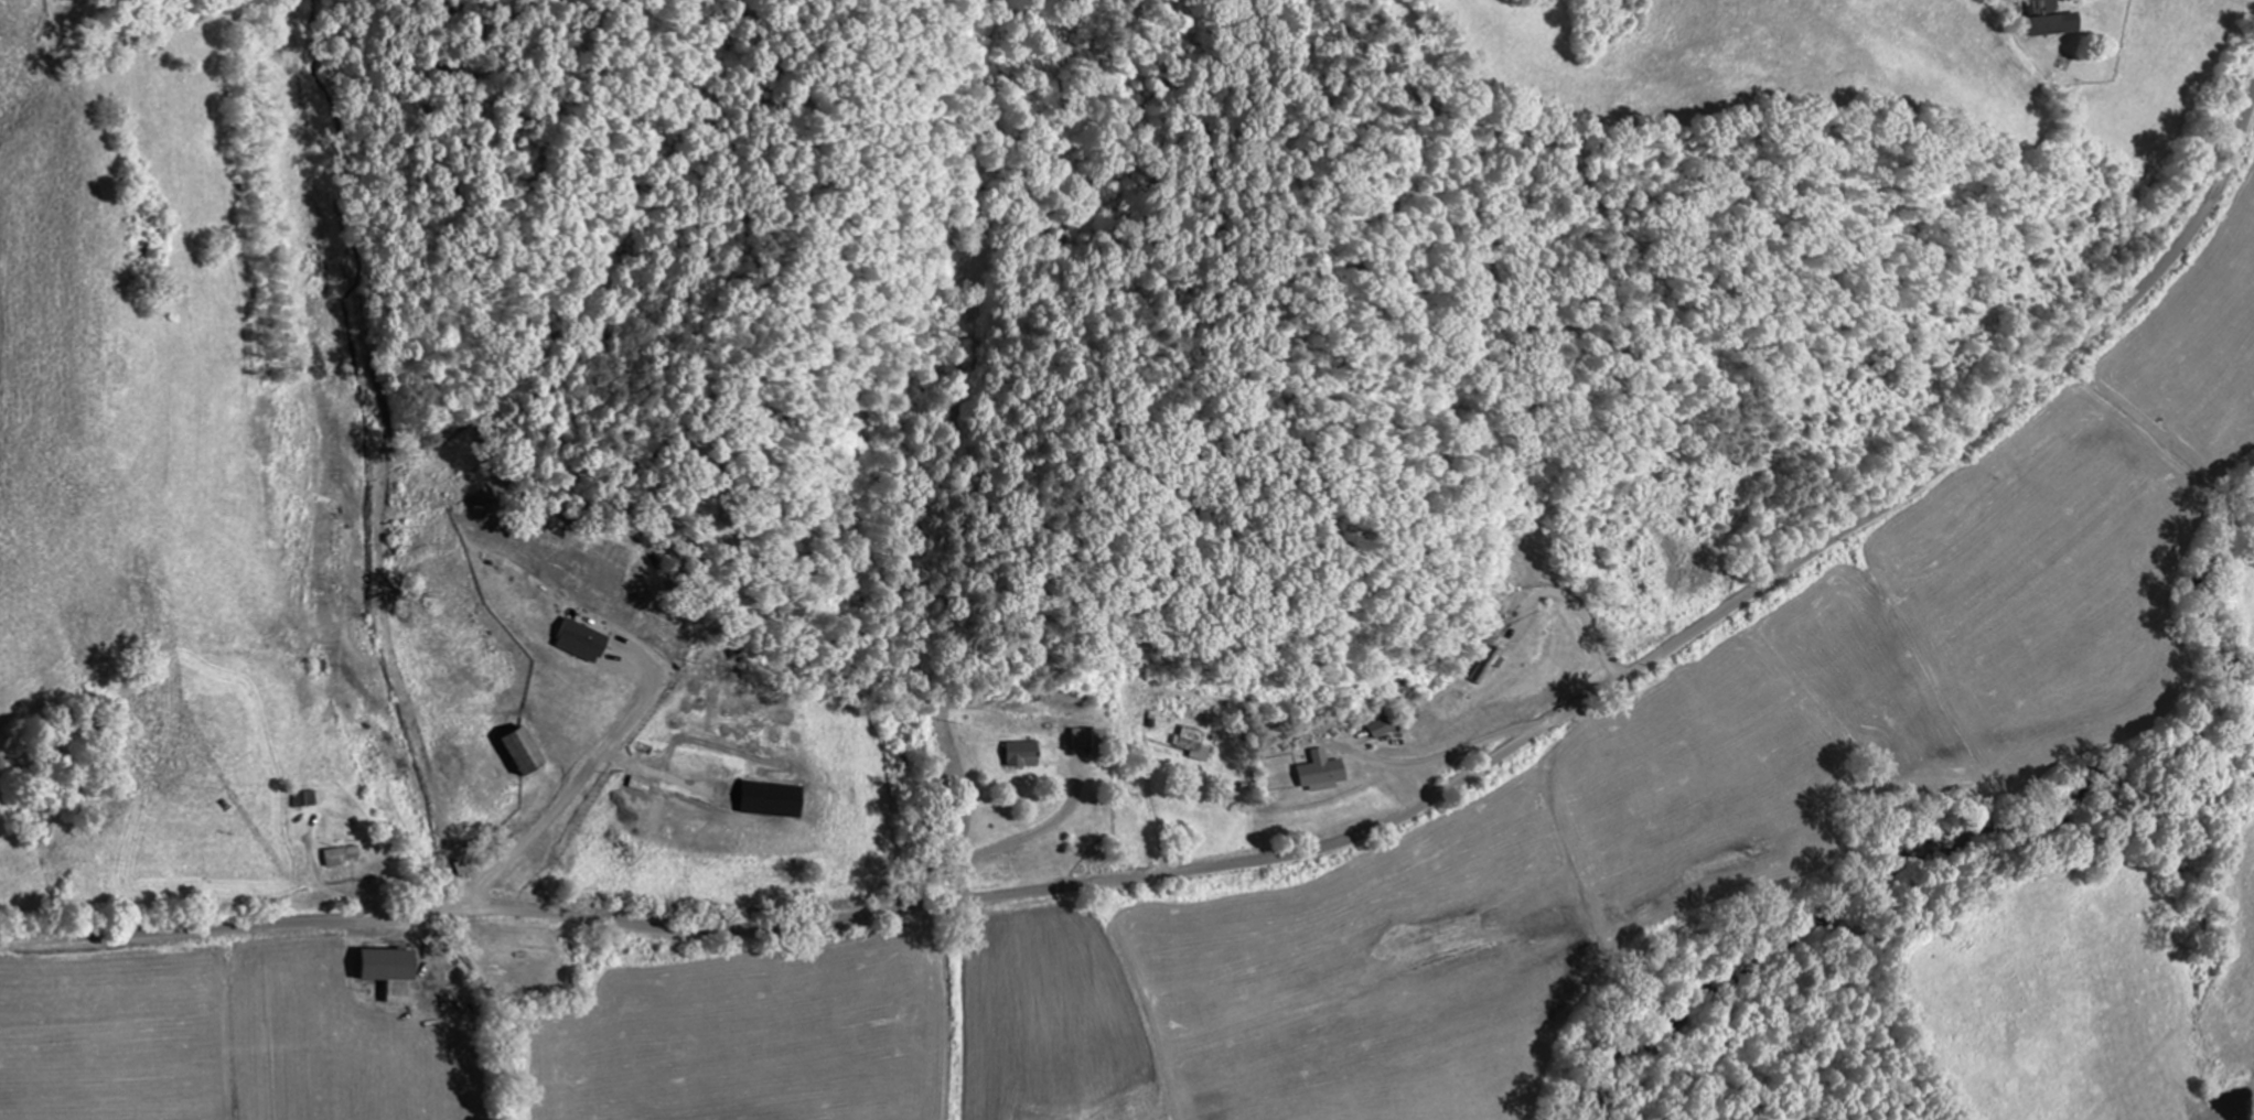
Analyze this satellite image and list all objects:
building: (2043, 20)
building: (579, 643)
building: (1378, 730)
building: (1080, 739)
building: (1193, 746)
building: (518, 754)
building: (1022, 756)
building: (1319, 775)
building: (301, 801)
building: (766, 801)
building: (335, 858)
road: (1270, 858)
building: (380, 967)

